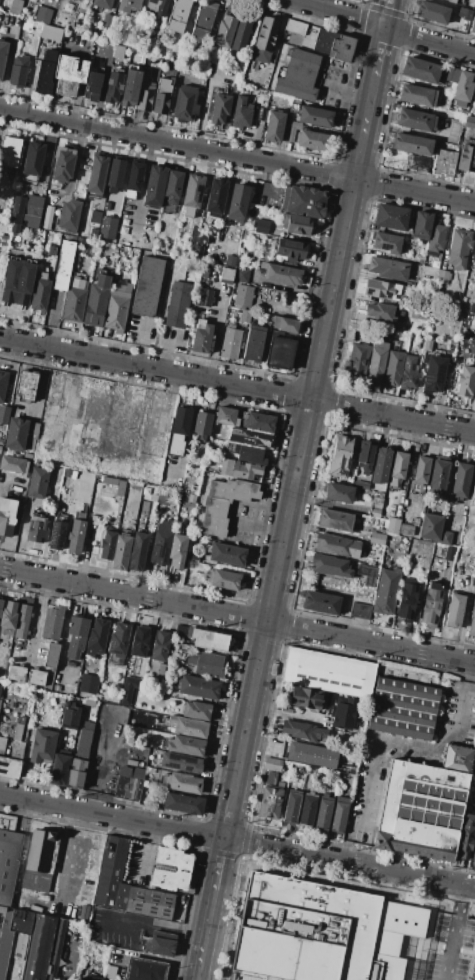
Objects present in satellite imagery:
building: (455, 2)
building: (103, 3)
building: (129, 5)
building: (15, 6)
building: (157, 7)
building: (432, 12)
road: (387, 14)
building: (42, 15)
building: (179, 15)
building: (459, 19)
building: (107, 20)
building: (203, 20)
building: (472, 24)
road: (384, 28)
building: (241, 31)
building: (51, 33)
building: (224, 33)
building: (298, 35)
building: (264, 40)
building: (333, 45)
building: (118, 51)
road: (379, 52)
building: (3, 54)
building: (420, 69)
building: (19, 71)
building: (45, 73)
building: (239, 73)
building: (68, 74)
road: (78, 74)
building: (451, 74)
building: (299, 75)
building: (92, 85)
building: (130, 86)
building: (114, 87)
building: (463, 89)
road: (344, 91)
building: (144, 95)
building: (162, 95)
building: (418, 95)
building: (474, 96)
road: (203, 98)
building: (185, 104)
building: (295, 106)
building: (220, 108)
building: (242, 113)
building: (258, 114)
building: (315, 117)
building: (415, 120)
building: (469, 122)
building: (274, 125)
building: (292, 130)
road: (414, 132)
building: (311, 140)
building: (412, 144)
building: (9, 151)
road: (237, 155)
building: (33, 159)
building: (466, 159)
building: (418, 163)
building: (444, 163)
building: (63, 164)
road: (72, 165)
building: (97, 175)
building: (115, 175)
building: (135, 177)
road: (141, 183)
building: (155, 186)
building: (172, 190)
building: (192, 193)
building: (215, 197)
building: (304, 201)
building: (237, 203)
building: (33, 205)
building: (106, 206)
building: (14, 214)
building: (69, 216)
building: (46, 217)
building: (96, 217)
building: (391, 217)
building: (31, 221)
building: (296, 224)
building: (422, 225)
building: (261, 226)
building: (106, 227)
building: (14, 229)
building: (93, 233)
building: (203, 237)
building: (194, 238)
building: (435, 239)
building: (387, 242)
building: (80, 243)
building: (290, 248)
building: (459, 248)
building: (199, 250)
building: (419, 261)
building: (64, 264)
building: (474, 266)
building: (388, 268)
building: (204, 271)
building: (281, 273)
building: (241, 274)
building: (226, 275)
building: (442, 276)
building: (128, 278)
building: (18, 282)
building: (147, 287)
building: (382, 290)
building: (40, 292)
building: (244, 295)
building: (75, 297)
building: (205, 297)
building: (96, 301)
building: (178, 305)
building: (117, 308)
building: (472, 309)
building: (383, 312)
building: (419, 315)
building: (245, 316)
road: (217, 318)
building: (284, 324)
building: (202, 336)
road: (136, 341)
building: (230, 343)
building: (253, 343)
building: (427, 344)
building: (415, 345)
road: (163, 350)
building: (280, 351)
building: (377, 361)
building: (358, 362)
building: (393, 368)
building: (409, 373)
building: (433, 373)
building: (465, 380)
building: (2, 384)
building: (26, 384)
road: (237, 386)
building: (4, 414)
building: (226, 416)
building: (259, 422)
building: (202, 425)
building: (32, 429)
building: (178, 432)
road: (303, 432)
building: (15, 434)
building: (220, 434)
building: (30, 443)
building: (0, 448)
building: (247, 453)
building: (27, 456)
building: (340, 457)
building: (365, 457)
building: (13, 464)
building: (399, 465)
building: (381, 466)
building: (239, 469)
building: (420, 474)
building: (438, 475)
building: (349, 480)
building: (460, 480)
building: (37, 482)
building: (112, 484)
building: (361, 484)
building: (188, 487)
building: (339, 493)
building: (380, 494)
building: (473, 494)
building: (163, 498)
building: (223, 503)
building: (375, 506)
building: (7, 516)
building: (335, 520)
building: (416, 521)
road: (257, 523)
building: (393, 526)
building: (431, 527)
building: (36, 529)
building: (406, 529)
building: (383, 531)
building: (56, 535)
building: (75, 536)
building: (446, 536)
building: (377, 538)
building: (161, 543)
building: (107, 545)
building: (336, 545)
building: (427, 549)
building: (177, 550)
building: (121, 551)
building: (138, 551)
building: (449, 553)
building: (227, 554)
building: (193, 557)
building: (330, 566)
building: (366, 574)
building: (223, 579)
building: (333, 579)
building: (386, 591)
building: (407, 598)
building: (320, 602)
building: (1, 605)
building: (431, 605)
building: (360, 610)
building: (454, 611)
road: (237, 615)
building: (8, 618)
building: (22, 620)
road: (37, 620)
building: (472, 622)
building: (52, 623)
building: (180, 630)
building: (96, 637)
building: (75, 639)
building: (209, 639)
building: (118, 640)
building: (140, 641)
building: (159, 646)
building: (51, 655)
building: (205, 663)
building: (156, 671)
road: (469, 671)
building: (328, 673)
building: (16, 674)
building: (36, 677)
building: (88, 684)
building: (0, 685)
building: (199, 687)
building: (56, 688)
building: (406, 689)
building: (306, 698)
building: (404, 702)
building: (89, 703)
building: (196, 710)
building: (343, 712)
building: (401, 715)
building: (69, 716)
building: (21, 719)
building: (357, 725)
building: (188, 727)
building: (399, 728)
building: (301, 730)
building: (17, 731)
road: (389, 742)
building: (43, 744)
building: (2, 745)
building: (184, 745)
building: (17, 750)
building: (311, 755)
building: (458, 758)
building: (180, 762)
building: (272, 765)
building: (9, 767)
building: (77, 768)
building: (345, 768)
building: (59, 769)
building: (131, 772)
building: (271, 778)
building: (181, 782)
building: (128, 788)
building: (270, 801)
building: (183, 803)
building: (292, 806)
building: (308, 810)
building: (421, 811)
building: (323, 812)
road: (228, 813)
building: (339, 814)
building: (465, 837)
road: (237, 841)
building: (474, 850)
road: (343, 851)
building: (39, 860)
building: (9, 863)
road: (218, 863)
building: (170, 868)
building: (111, 875)
building: (149, 903)
building: (83, 912)
road: (146, 919)
building: (335, 921)
building: (20, 922)
road: (204, 934)
building: (5, 941)
building: (160, 943)
building: (21, 945)
building: (43, 947)
road: (71, 955)
road: (147, 956)
building: (441, 969)
building: (144, 970)
building: (110, 972)
building: (252, 974)
building: (90, 978)

